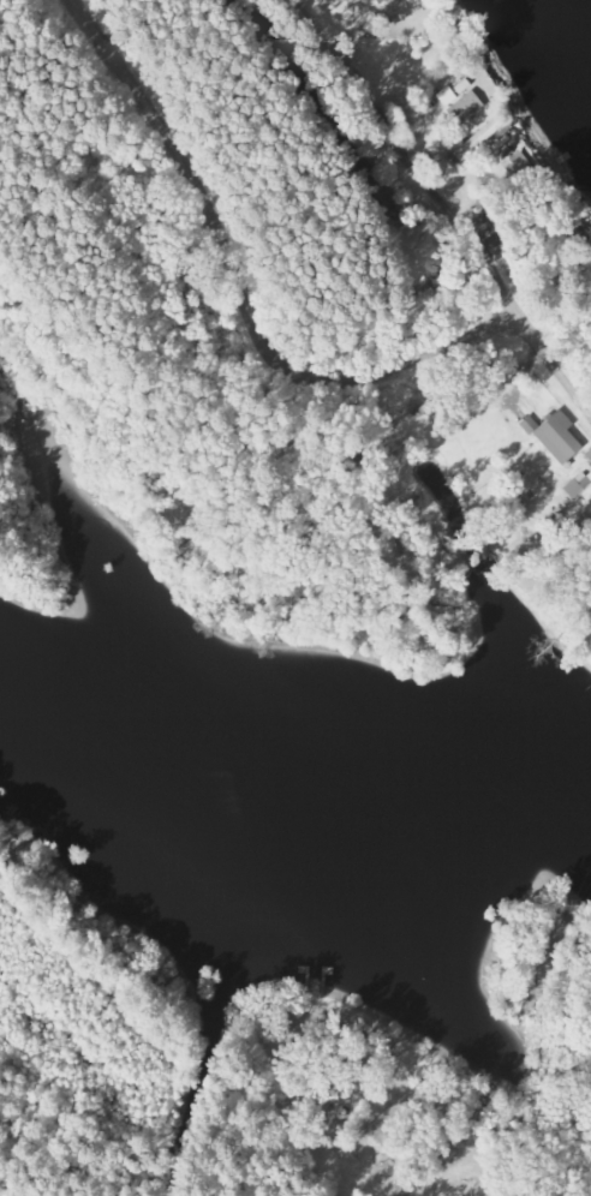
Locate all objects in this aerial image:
building: (376, 0)
building: (446, 94)
building: (464, 106)
building: (518, 165)
road: (443, 204)
road: (237, 291)
building: (555, 435)
building: (579, 482)

